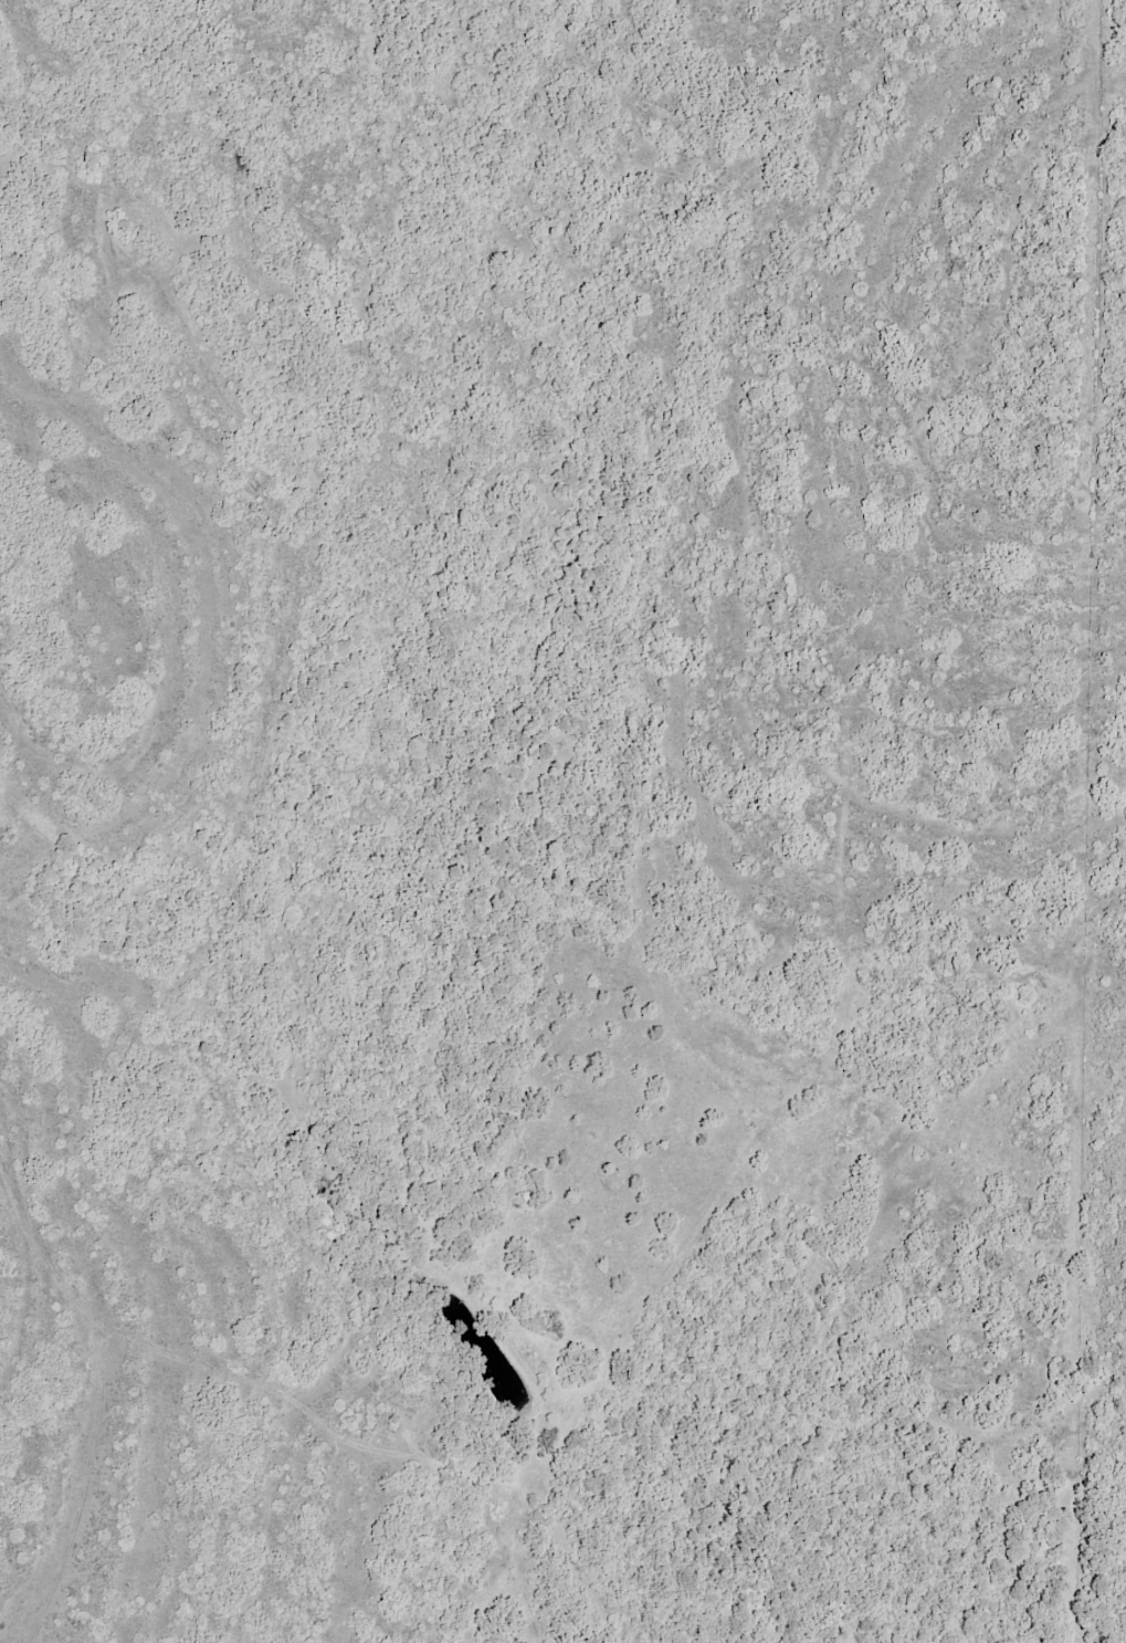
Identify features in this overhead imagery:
road: (861, 847)
road: (81, 1411)
road: (322, 1423)

